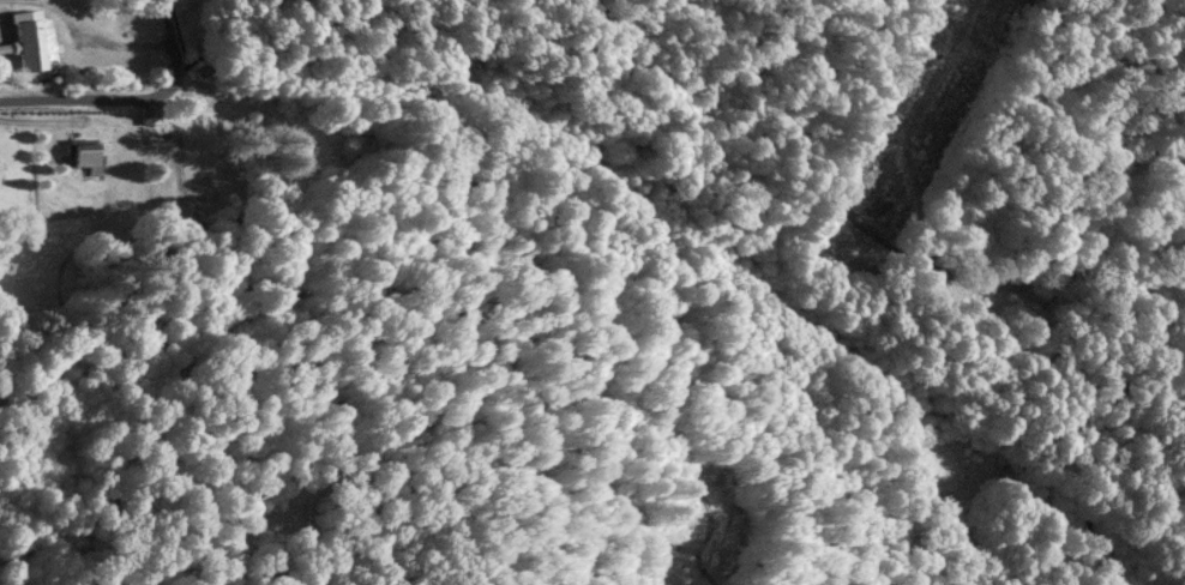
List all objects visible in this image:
road: (103, 32)
building: (30, 38)
road: (128, 97)
building: (149, 113)
road: (42, 116)
building: (84, 151)

